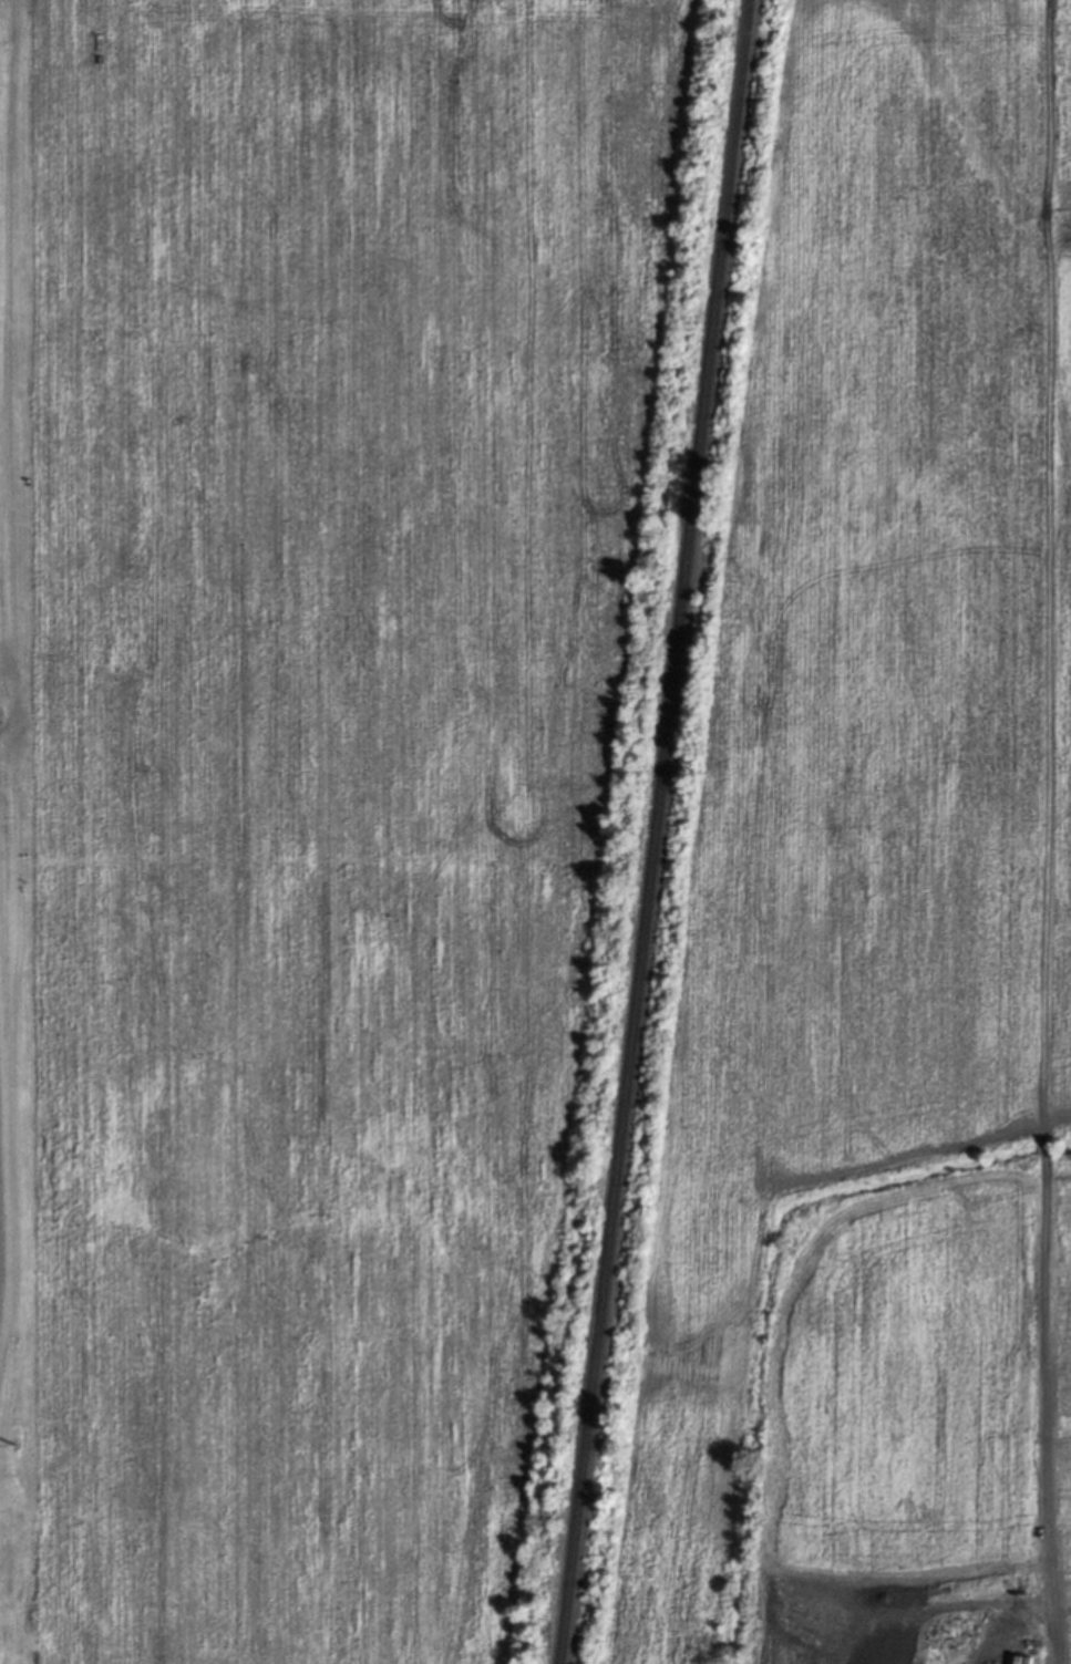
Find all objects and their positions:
crop: (326, 788)
railway: (655, 831)
park: (11, 860)
crop: (875, 895)
power tower: (14, 1449)

